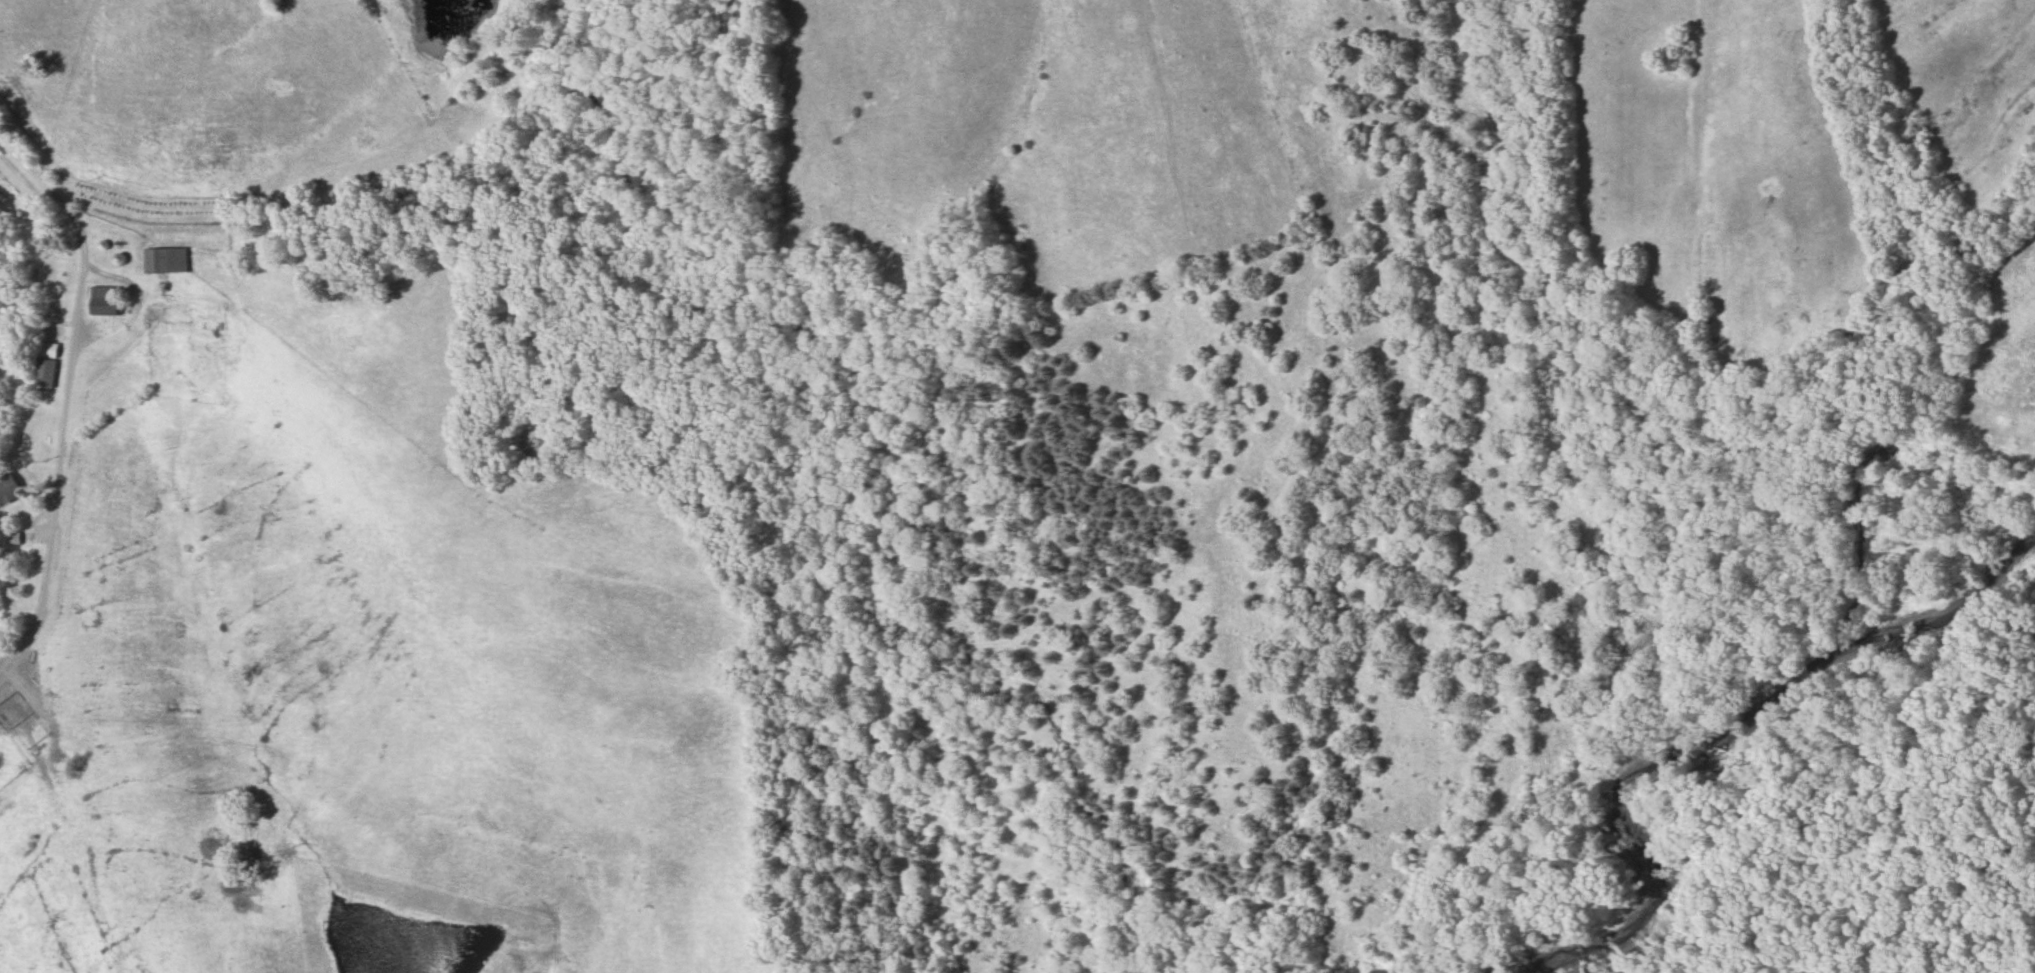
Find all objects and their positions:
building: (161, 259)
building: (99, 299)
road: (77, 322)
building: (43, 372)
building: (8, 486)
building: (10, 537)

